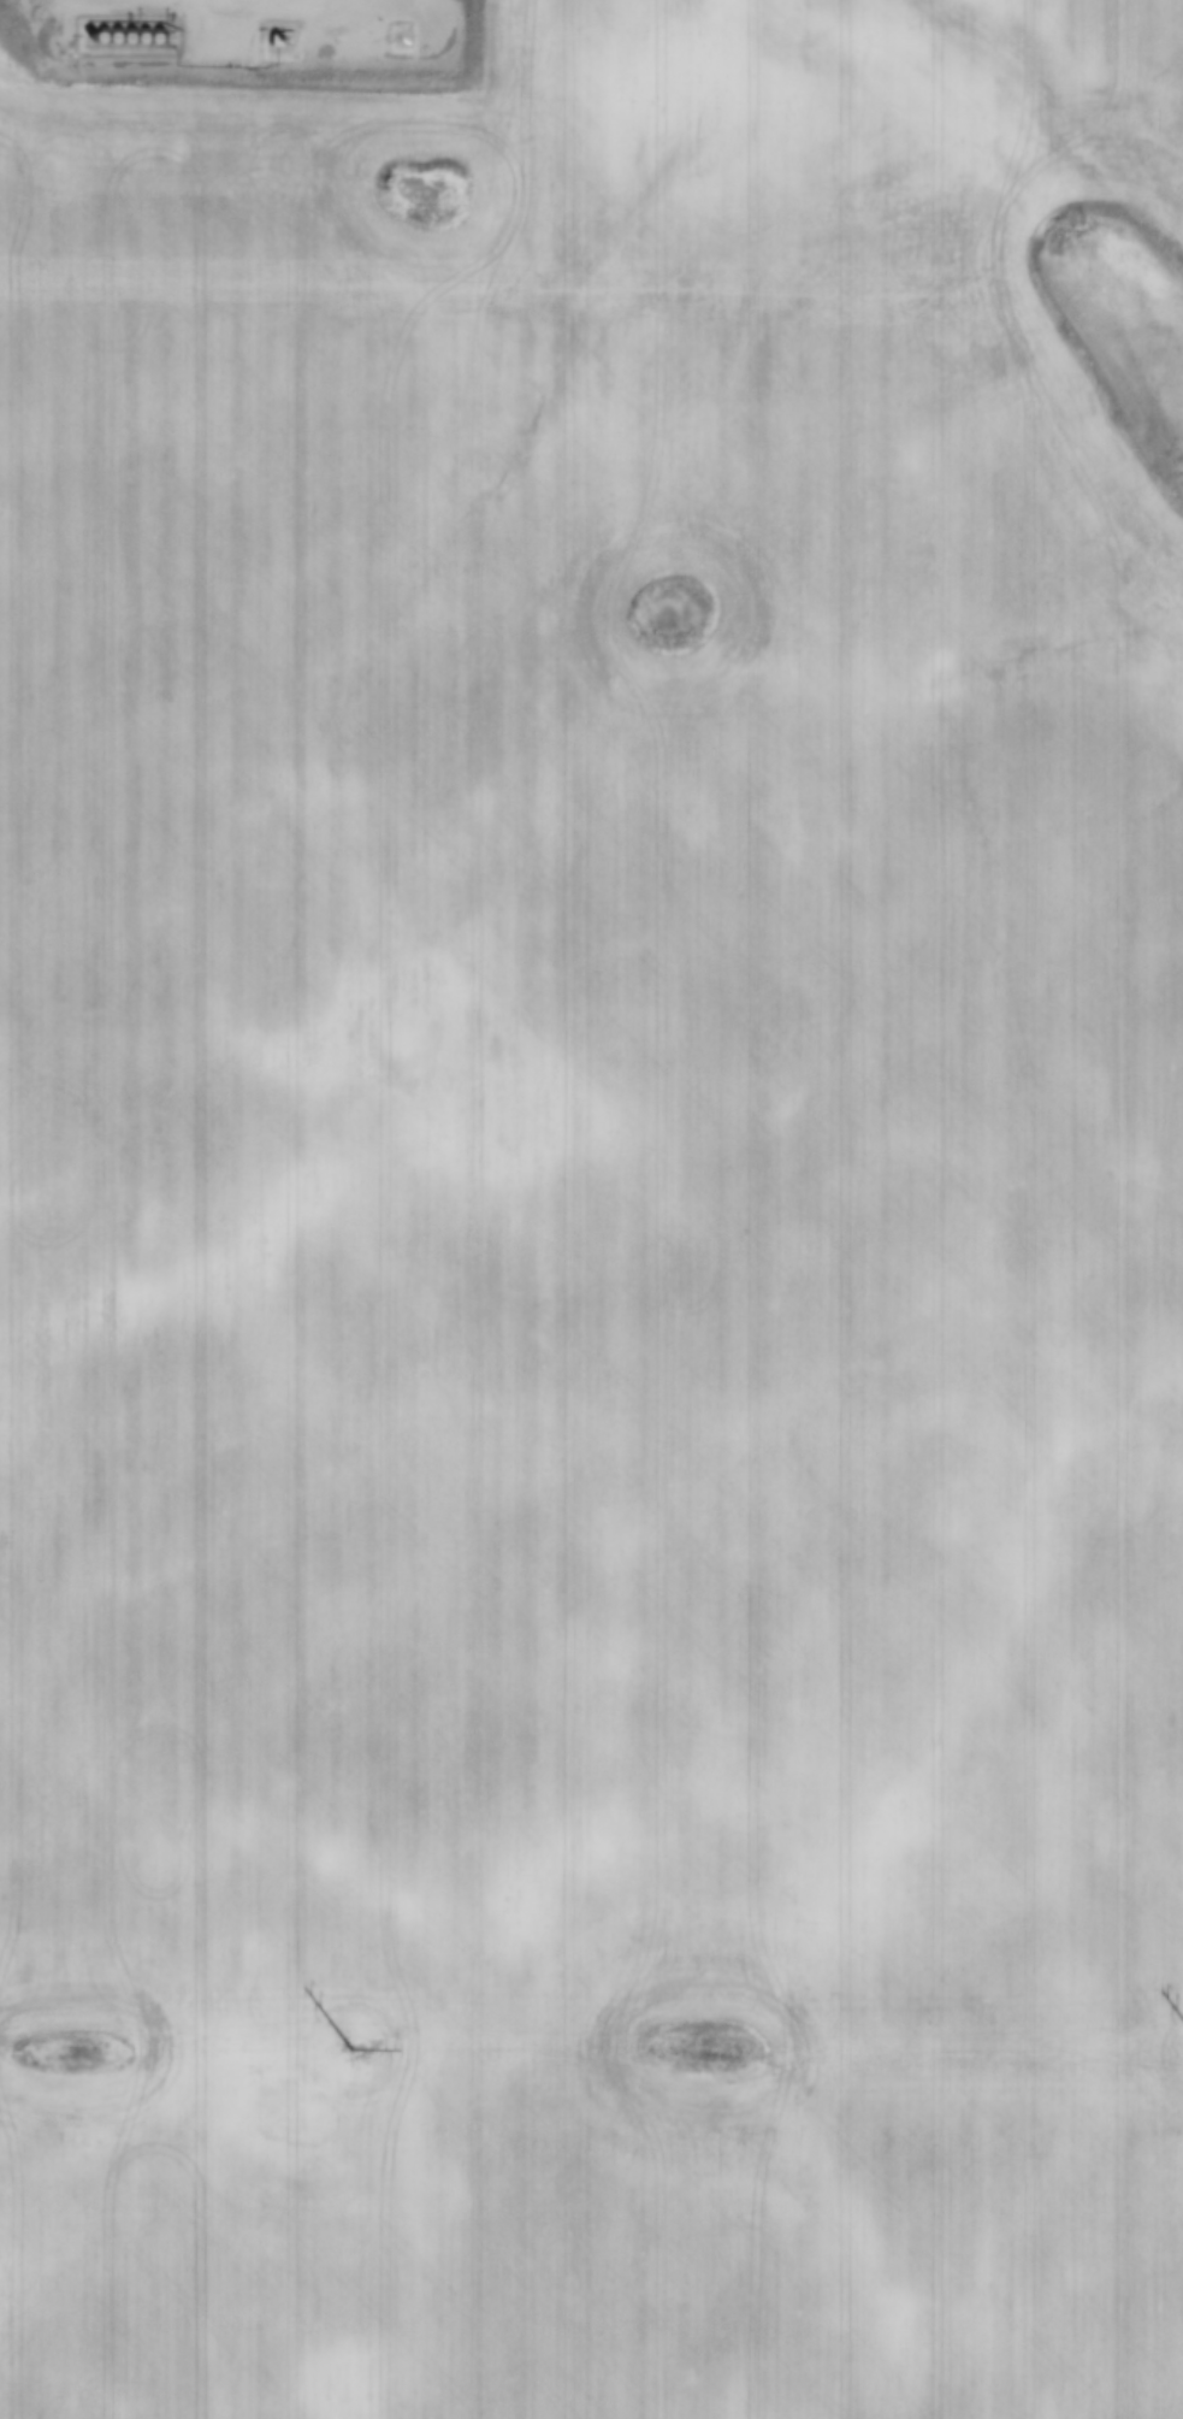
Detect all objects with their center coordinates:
power tower: (350, 2047)

